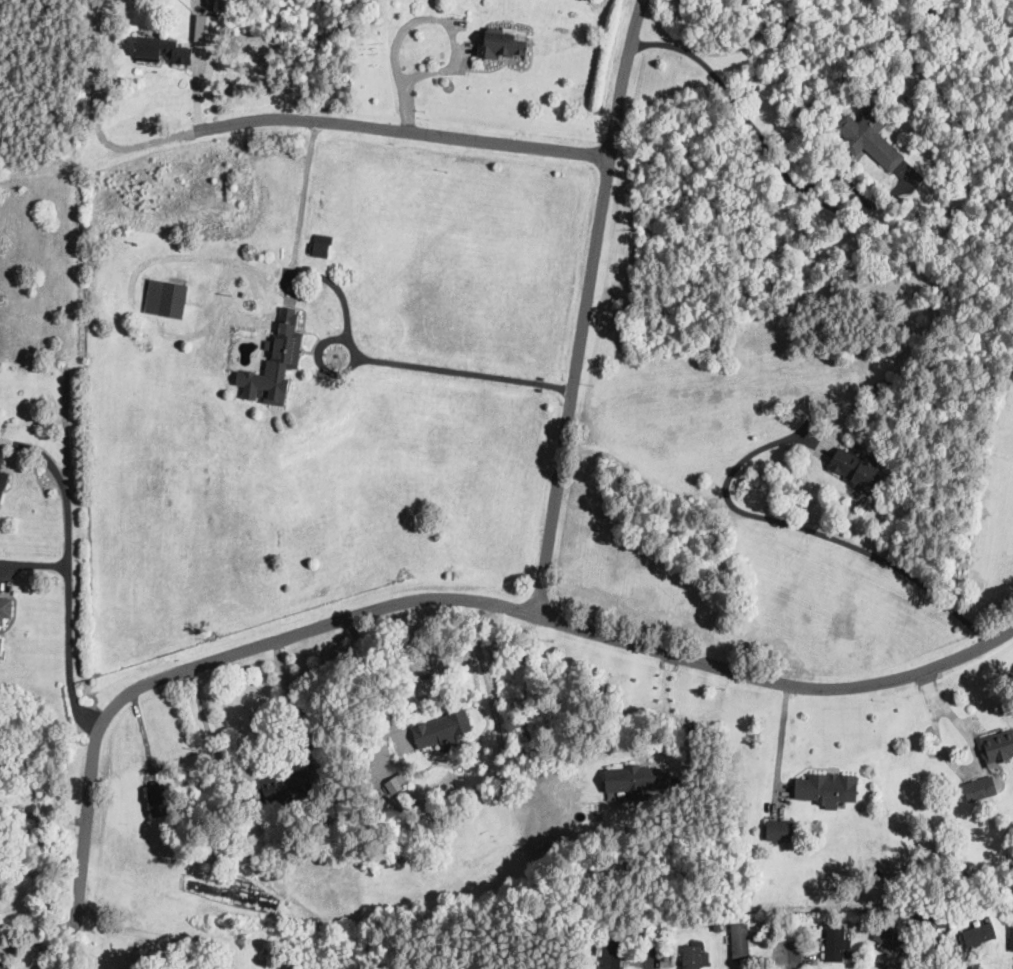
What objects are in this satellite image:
road: (208, 2)
building: (187, 5)
road: (426, 18)
building: (206, 27)
building: (501, 45)
building: (163, 51)
road: (621, 75)
road: (96, 117)
road: (402, 128)
road: (765, 140)
building: (868, 140)
building: (320, 243)
road: (295, 246)
building: (177, 273)
building: (166, 297)
road: (335, 336)
building: (275, 360)
road: (464, 373)
road: (574, 384)
building: (884, 386)
building: (1, 460)
building: (858, 469)
building: (3, 481)
road: (802, 527)
road: (68, 569)
building: (5, 607)
building: (0, 641)
road: (213, 659)
road: (778, 682)
road: (419, 700)
road: (671, 715)
building: (441, 729)
road: (782, 737)
building: (998, 747)
road: (977, 755)
road: (272, 757)
building: (637, 779)
building: (397, 782)
building: (284, 788)
building: (827, 788)
building: (980, 789)
building: (158, 801)
road: (32, 814)
building: (776, 831)
building: (998, 882)
building: (1008, 885)
building: (912, 919)
building: (932, 920)
building: (988, 920)
building: (703, 923)
building: (862, 924)
road: (37, 925)
building: (717, 925)
road: (132, 928)
building: (590, 931)
building: (597, 931)
building: (979, 935)
building: (1011, 936)
building: (2, 938)
building: (891, 939)
building: (740, 943)
building: (836, 944)
building: (612, 950)
building: (695, 951)
road: (797, 955)
road: (936, 957)
road: (653, 962)
building: (858, 964)
building: (882, 965)
building: (975, 965)
building: (192, 967)
building: (891, 968)

